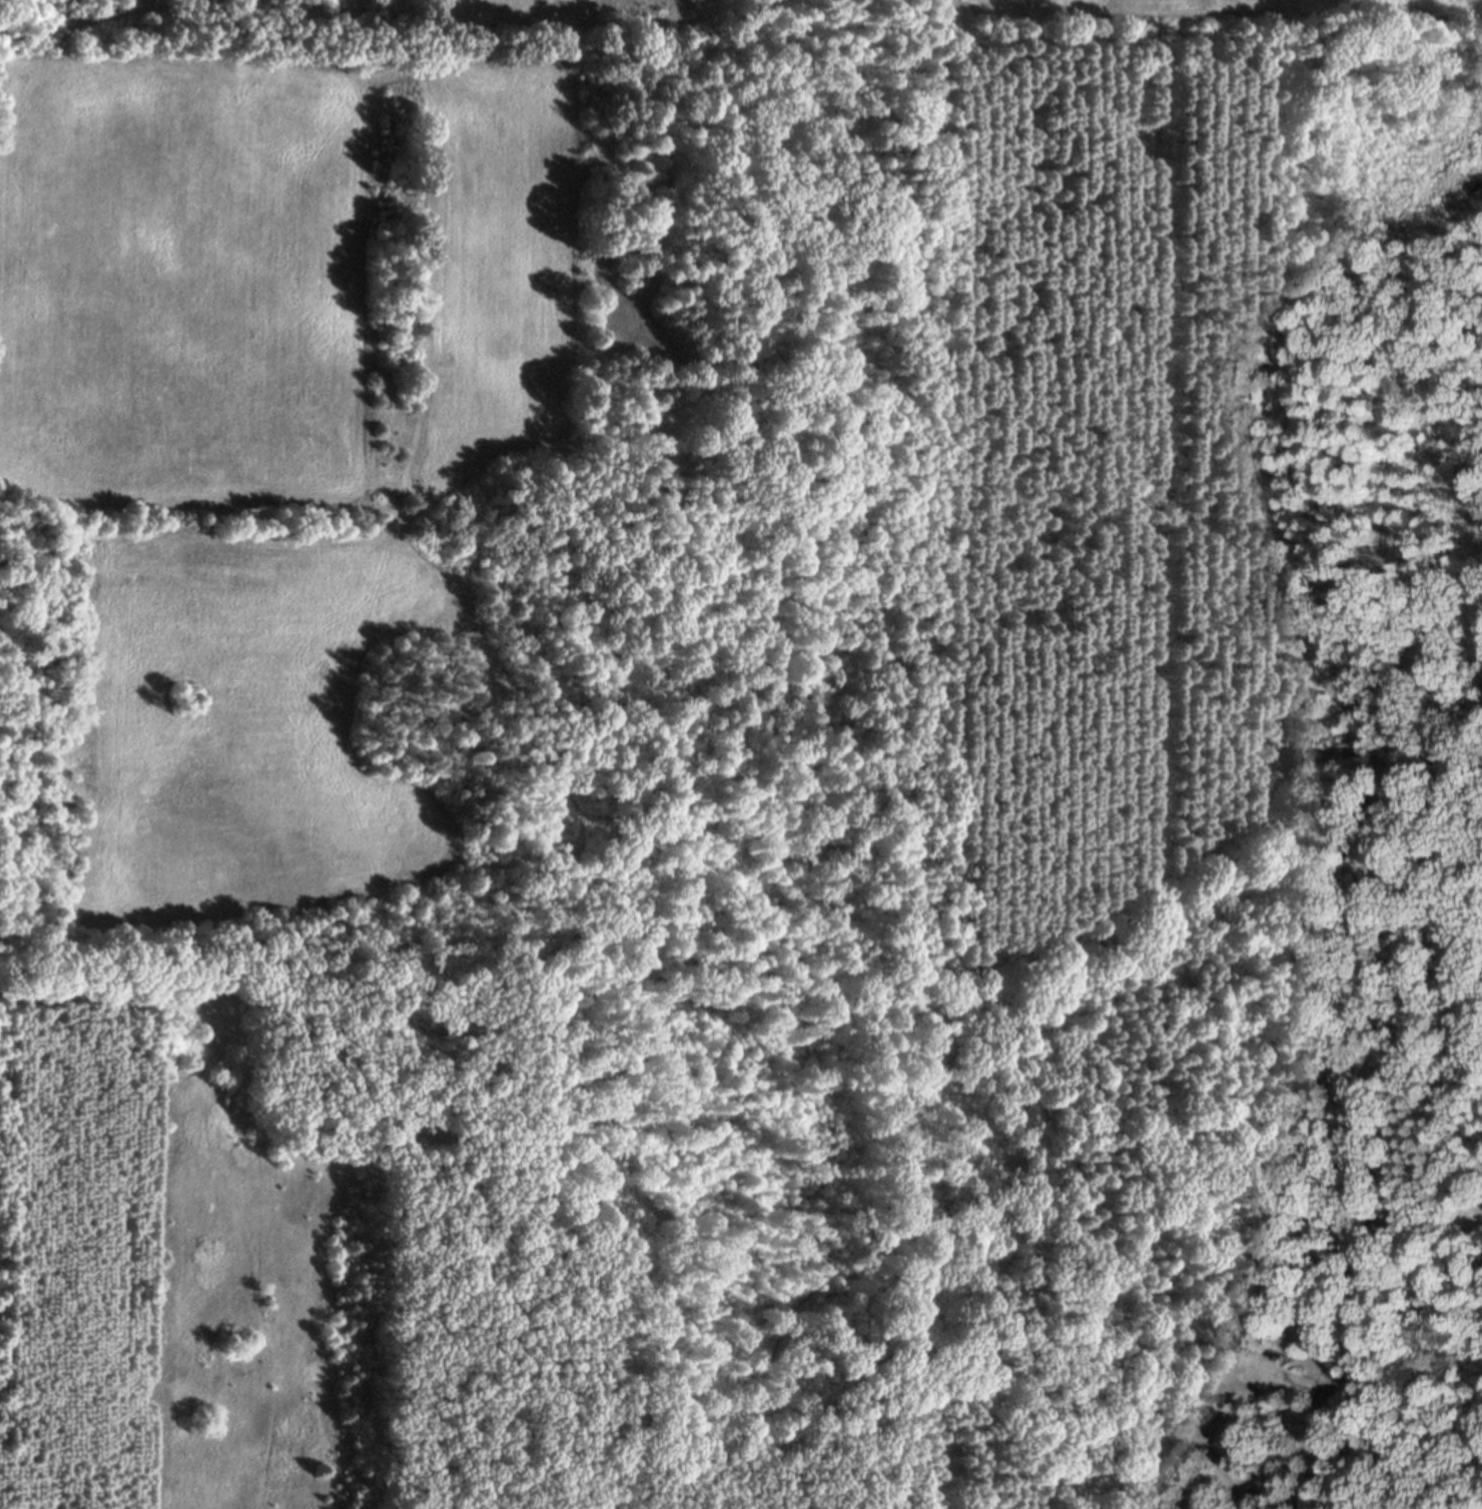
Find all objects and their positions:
building: (1317, 1504)

